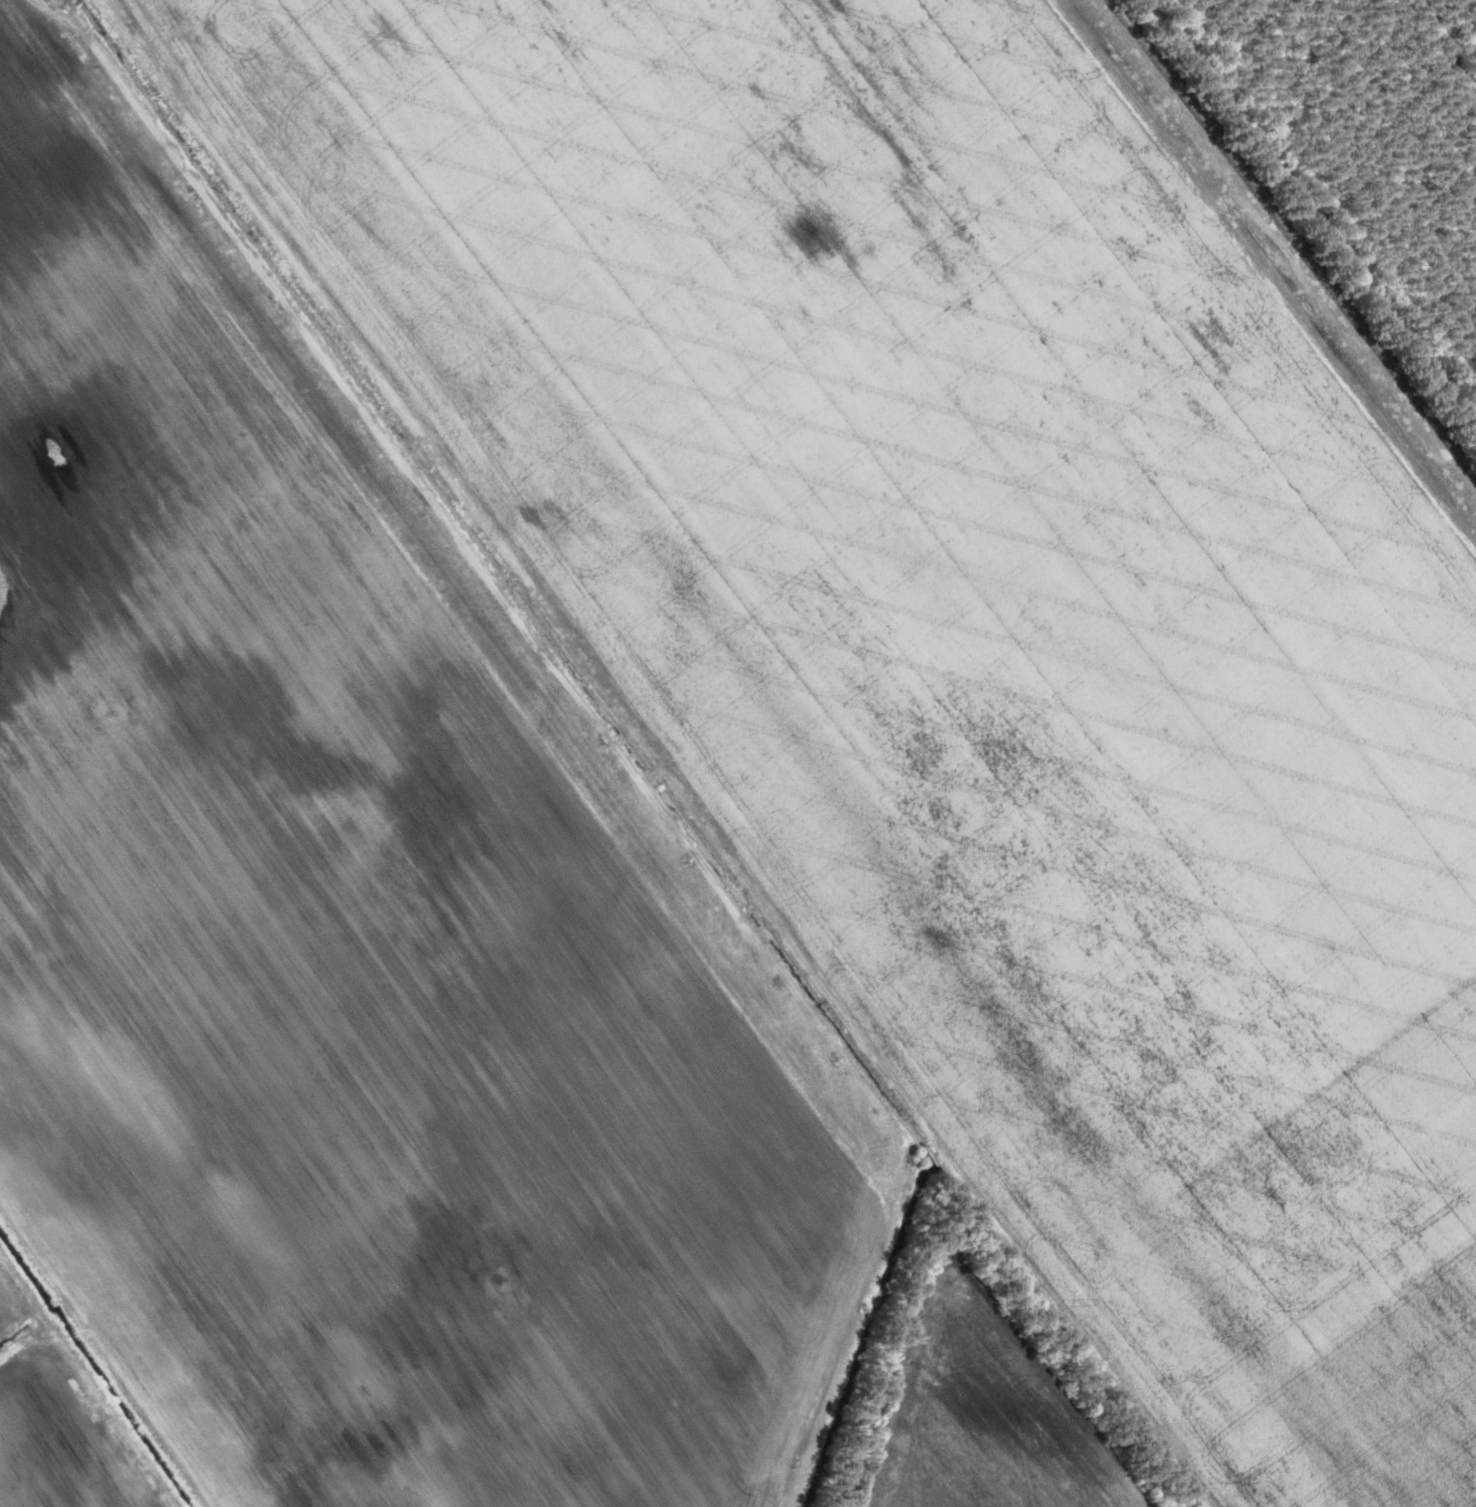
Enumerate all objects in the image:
road: (1314, 206)

